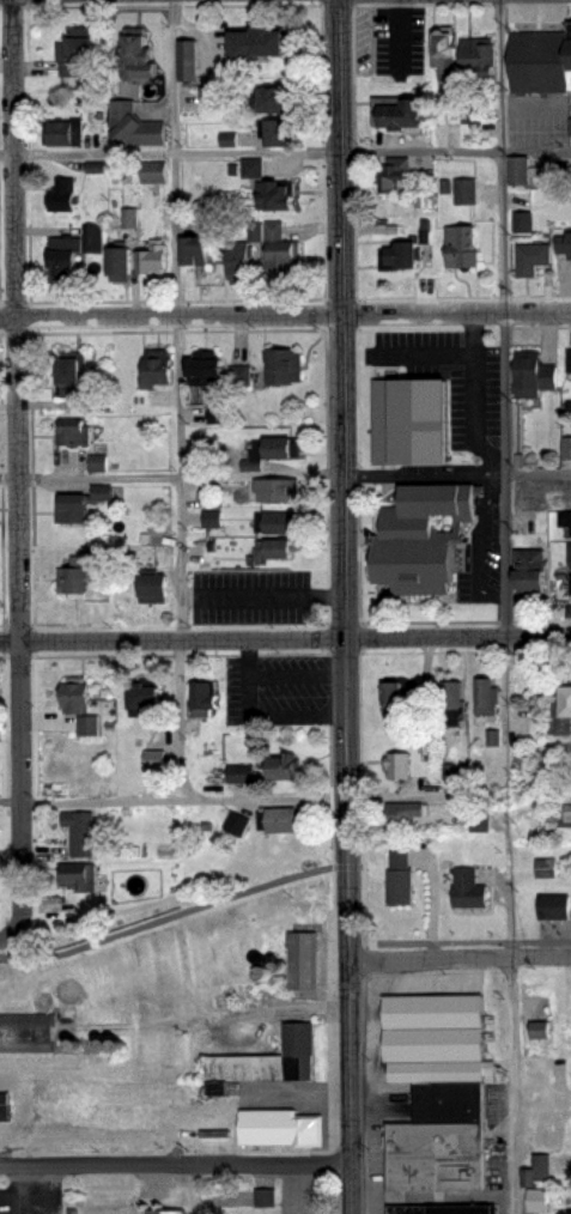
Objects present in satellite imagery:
building: (445, 43)
building: (259, 44)
building: (541, 51)
building: (77, 53)
building: (190, 61)
building: (141, 68)
building: (274, 102)
building: (405, 114)
parking lot: (535, 117)
building: (135, 127)
building: (65, 134)
building: (277, 134)
road: (537, 147)
road: (251, 153)
road: (504, 154)
building: (254, 168)
building: (514, 170)
building: (570, 170)
building: (150, 171)
building: (394, 174)
building: (467, 192)
building: (277, 195)
building: (62, 198)
building: (570, 202)
building: (564, 244)
building: (462, 250)
building: (195, 253)
building: (283, 254)
building: (154, 256)
building: (65, 257)
building: (400, 257)
building: (530, 259)
building: (239, 261)
building: (121, 263)
road: (285, 311)
building: (567, 362)
building: (285, 368)
building: (158, 372)
building: (205, 374)
building: (73, 376)
building: (242, 376)
building: (529, 376)
road: (475, 393)
road: (181, 402)
building: (408, 408)
building: (72, 432)
parking lot: (456, 435)
building: (274, 447)
building: (566, 449)
building: (93, 462)
road: (503, 472)
road: (18, 473)
road: (415, 473)
road: (90, 479)
building: (274, 491)
road: (487, 492)
building: (567, 497)
building: (69, 508)
building: (566, 524)
building: (275, 526)
building: (420, 536)
building: (274, 553)
building: (570, 558)
road: (478, 559)
building: (528, 575)
building: (68, 584)
building: (569, 584)
building: (147, 591)
parking lot: (256, 595)
road: (345, 606)
road: (285, 637)
parking lot: (278, 688)
building: (454, 693)
building: (490, 693)
building: (200, 698)
building: (397, 700)
building: (140, 704)
building: (84, 709)
building: (565, 712)
building: (400, 765)
building: (239, 772)
building: (281, 773)
road: (172, 802)
building: (403, 811)
building: (283, 820)
building: (235, 823)
building: (80, 832)
building: (542, 868)
building: (81, 875)
building: (399, 879)
building: (468, 888)
building: (553, 906)
road: (174, 909)
road: (458, 949)
road: (458, 958)
building: (299, 961)
building: (259, 970)
building: (25, 1030)
building: (431, 1038)
building: (267, 1062)
road: (510, 1085)
building: (4, 1105)
building: (444, 1105)
building: (273, 1125)
building: (432, 1163)
road: (174, 1165)
building: (536, 1167)
road: (189, 1189)
building: (265, 1196)
building: (535, 1198)
building: (293, 1200)
building: (439, 1209)
building: (160, 1210)

